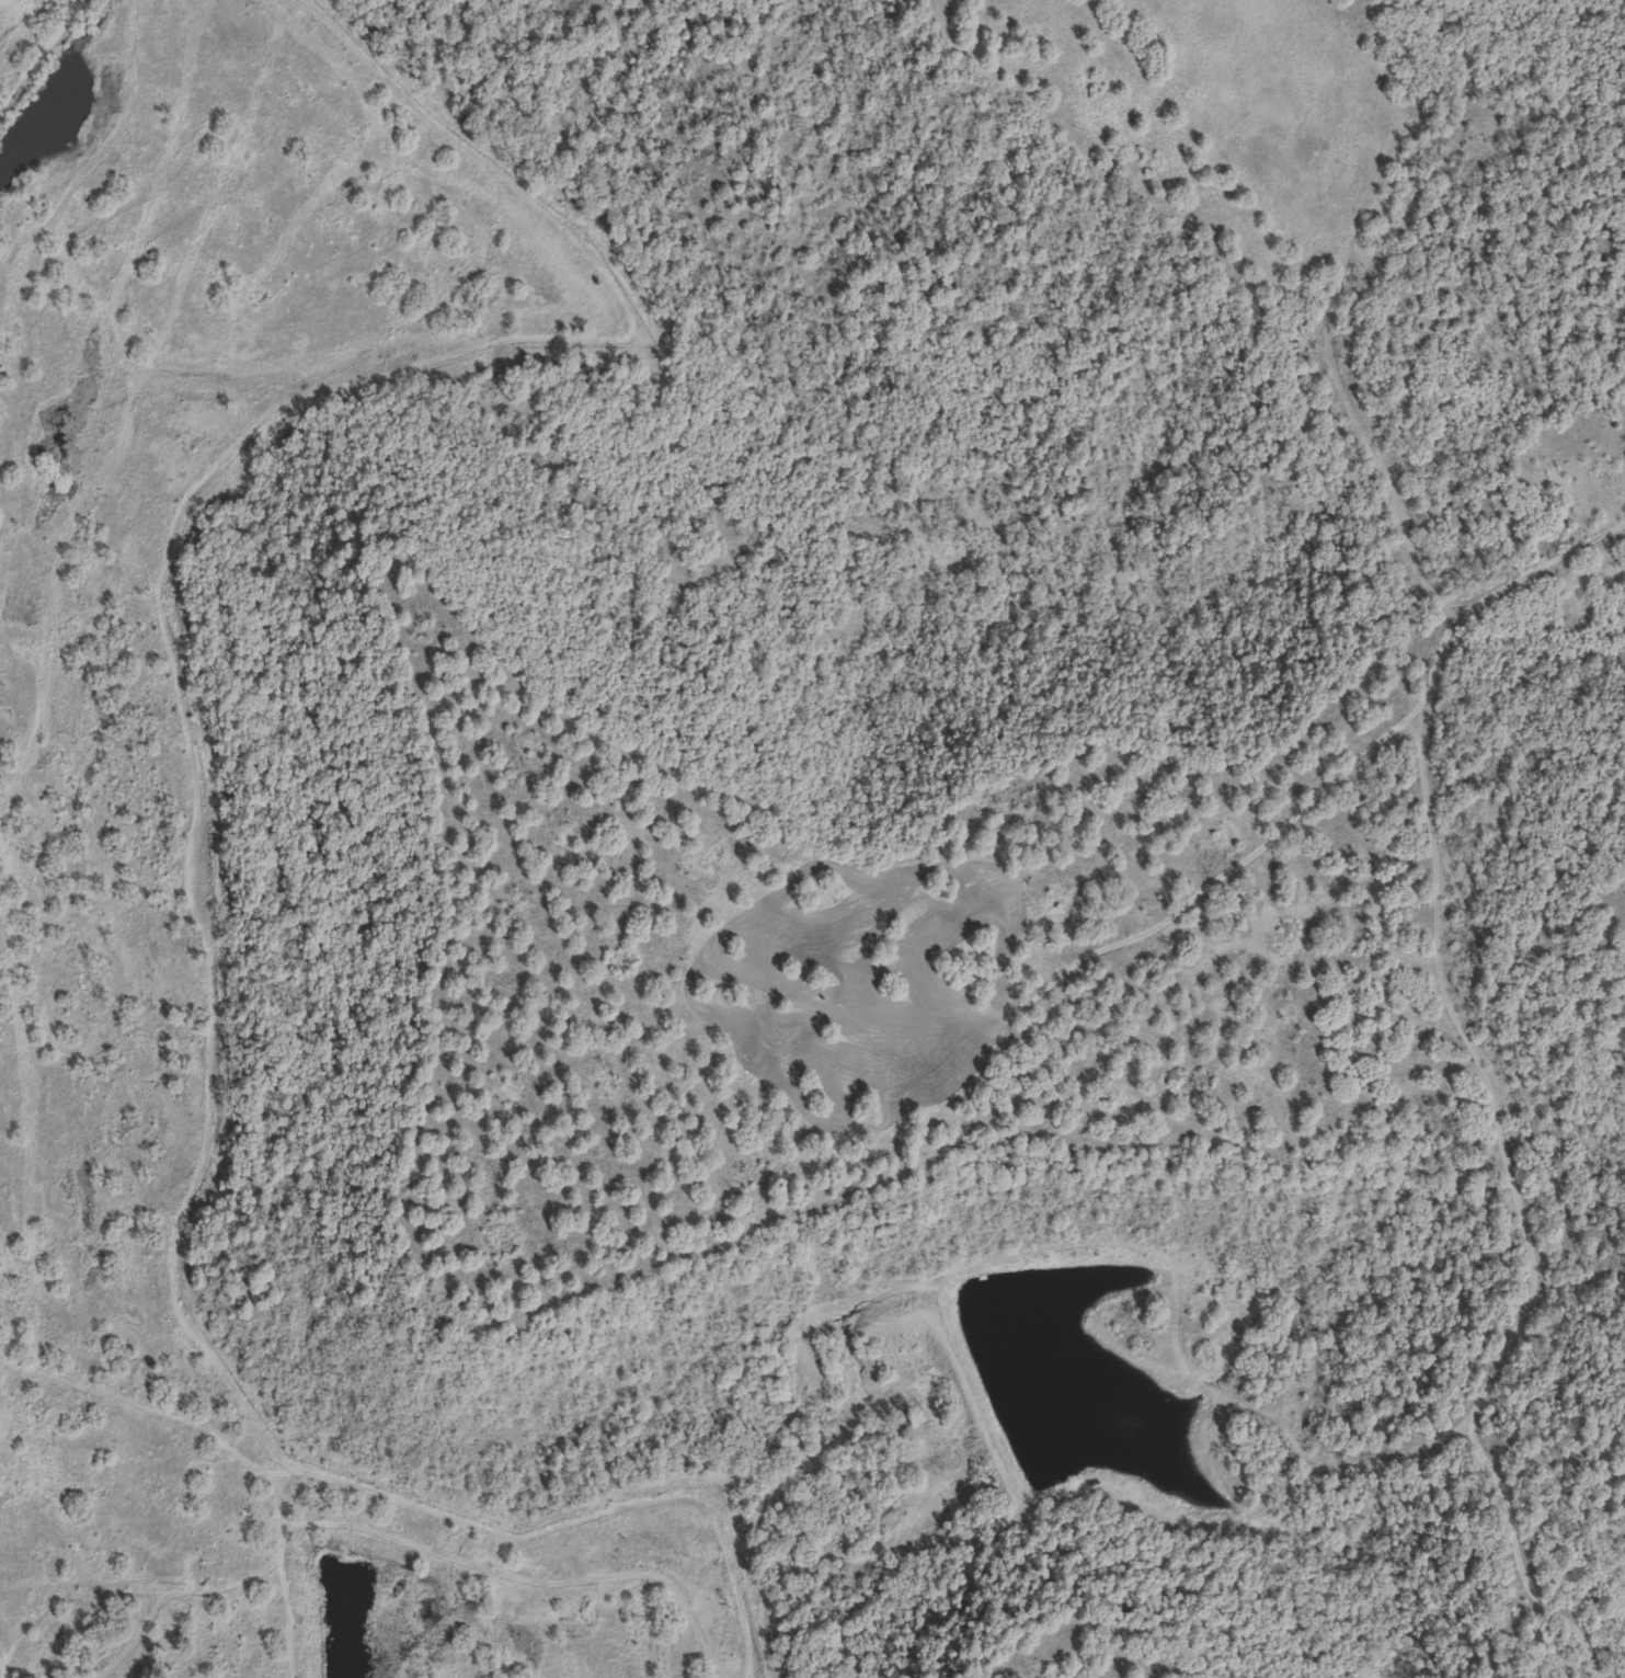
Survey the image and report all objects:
road: (37, 55)
road: (1475, 1045)

